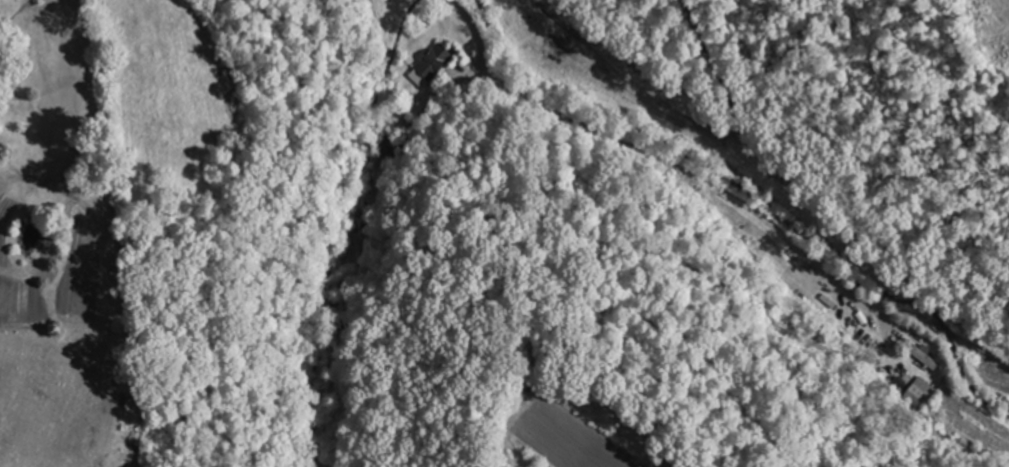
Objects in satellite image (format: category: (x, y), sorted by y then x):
building: (433, 63)
road: (655, 155)
building: (930, 363)
building: (920, 393)

